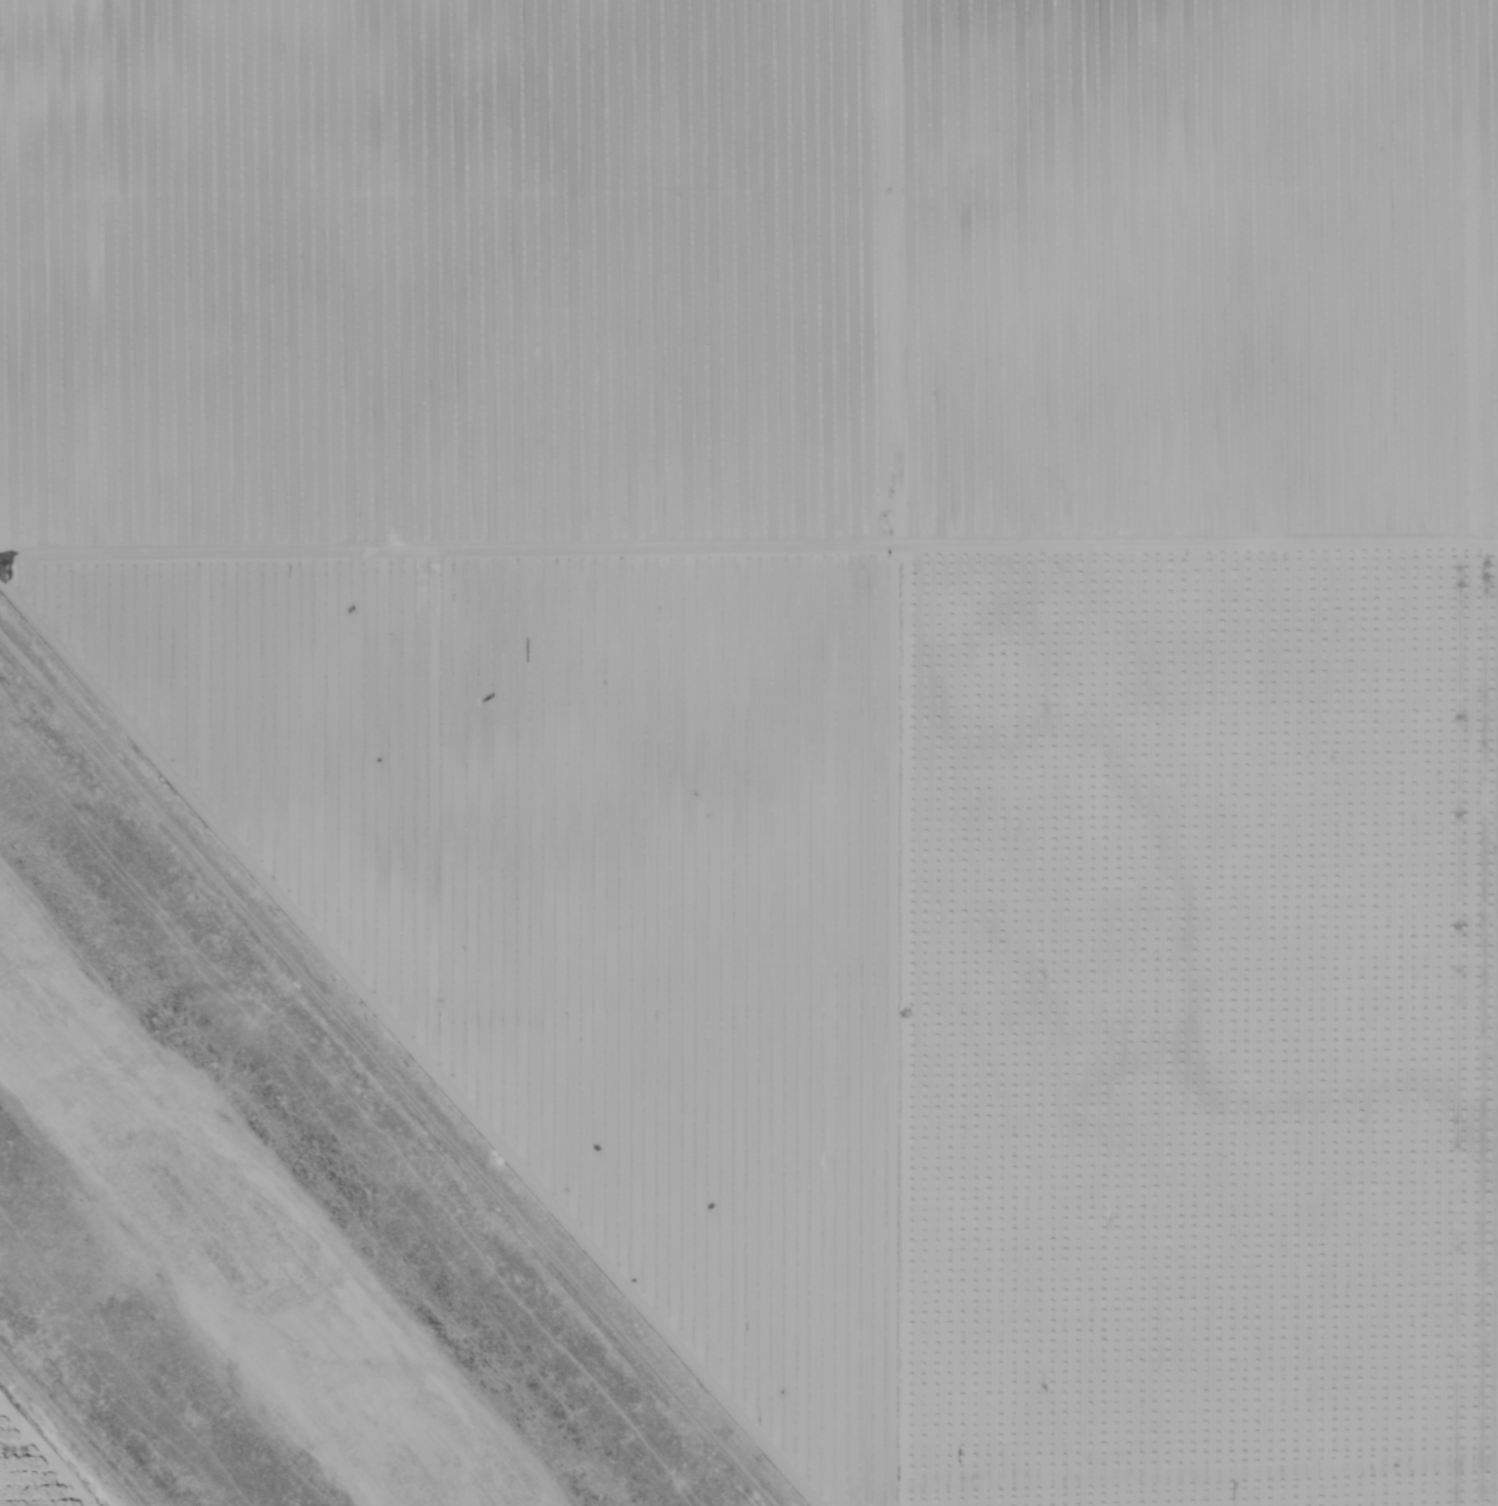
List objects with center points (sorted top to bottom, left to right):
crop: (838, 669)
crop: (39, 1461)

